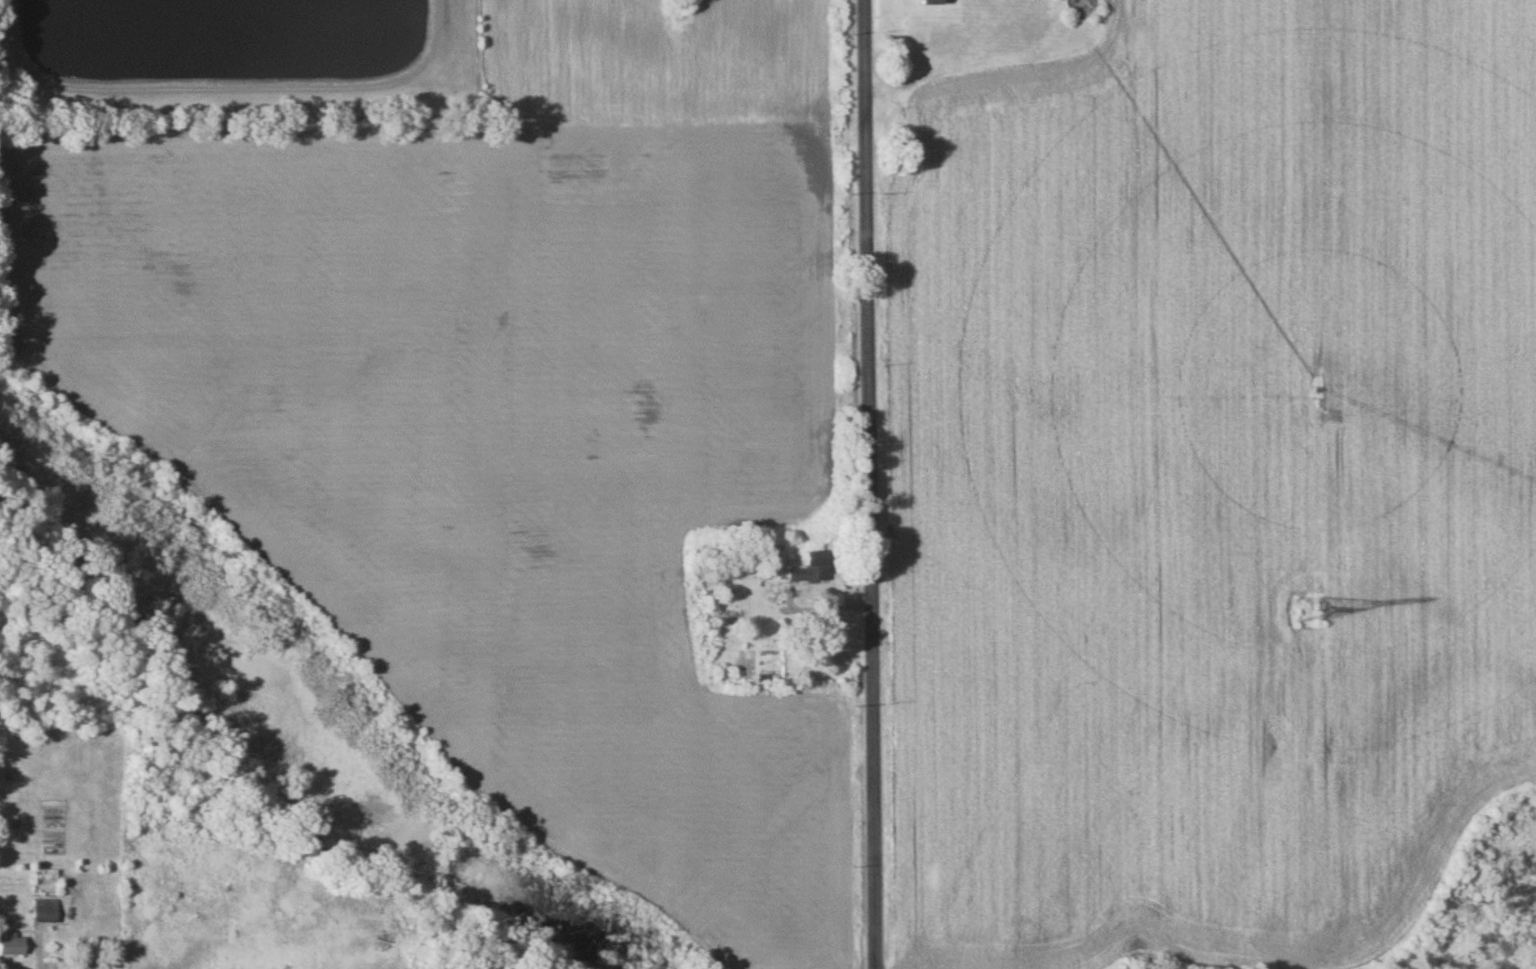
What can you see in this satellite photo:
building: (930, 2)
road: (224, 89)
road: (870, 484)
building: (810, 570)
power tower: (1308, 610)
building: (44, 912)
building: (12, 946)

